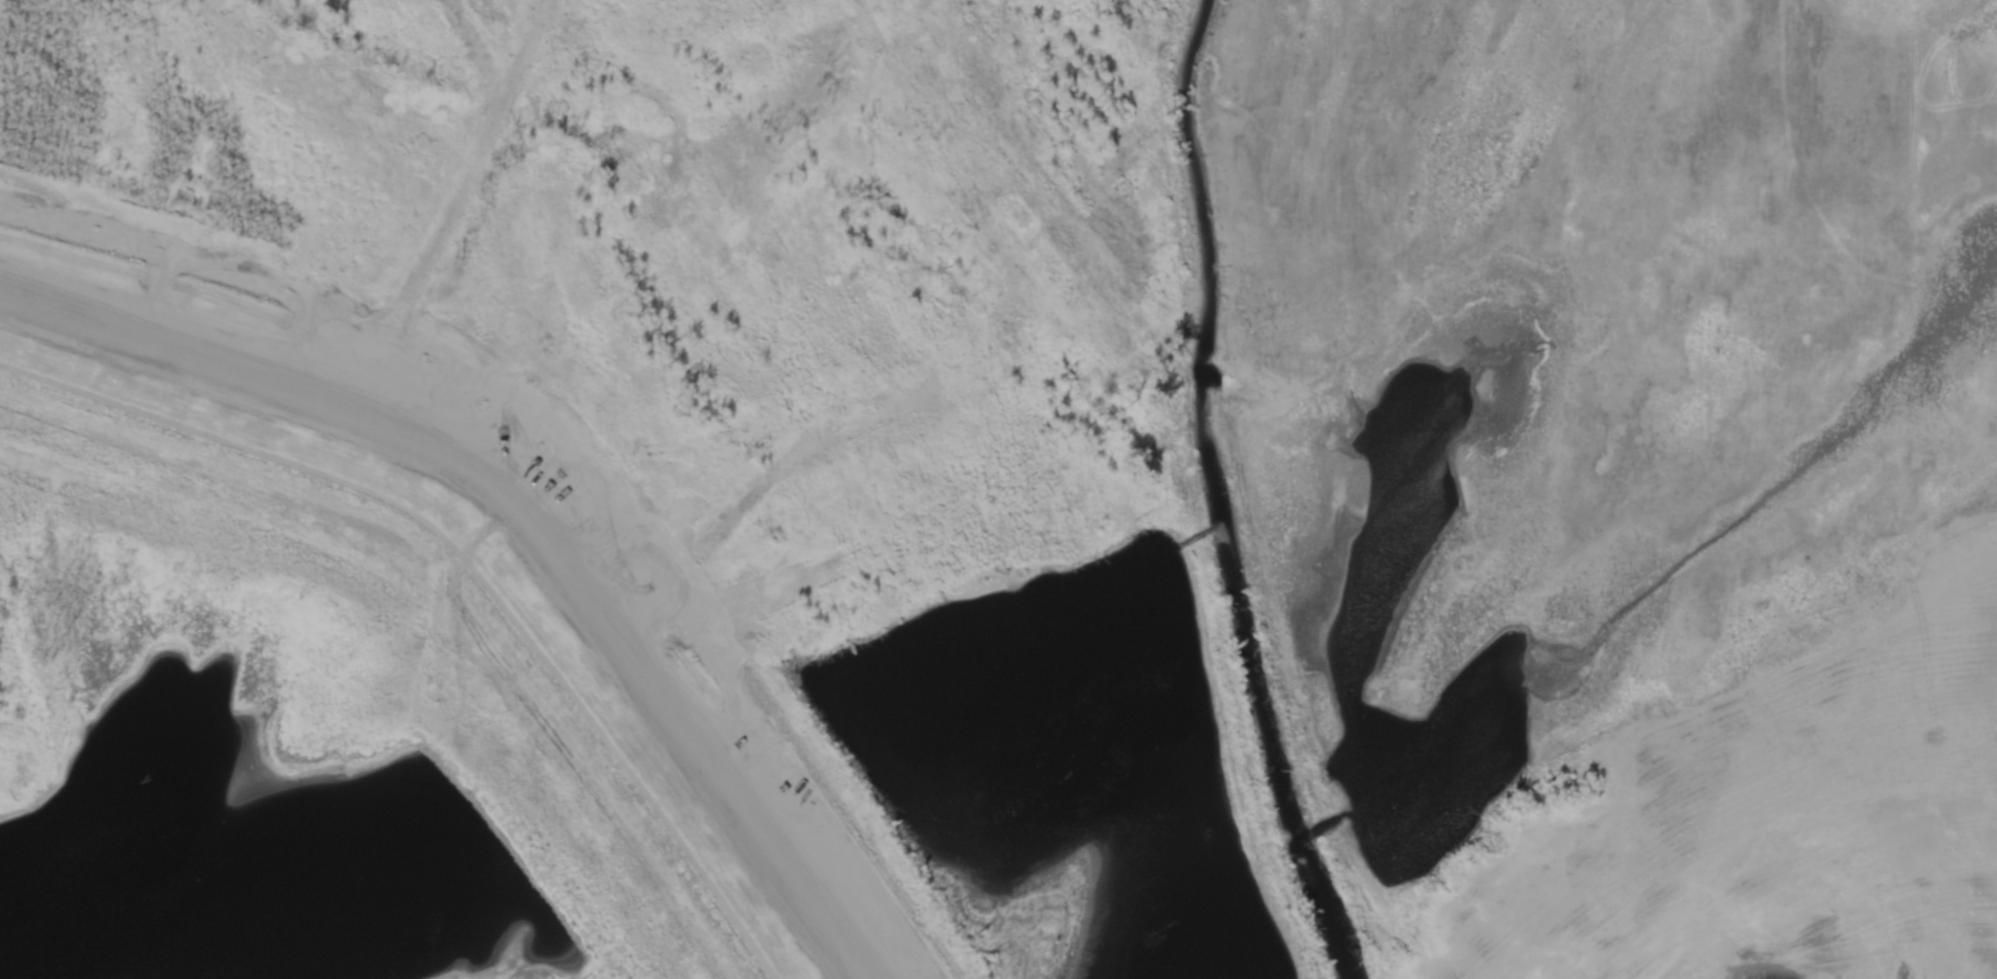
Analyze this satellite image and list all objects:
road: (1760, 758)

